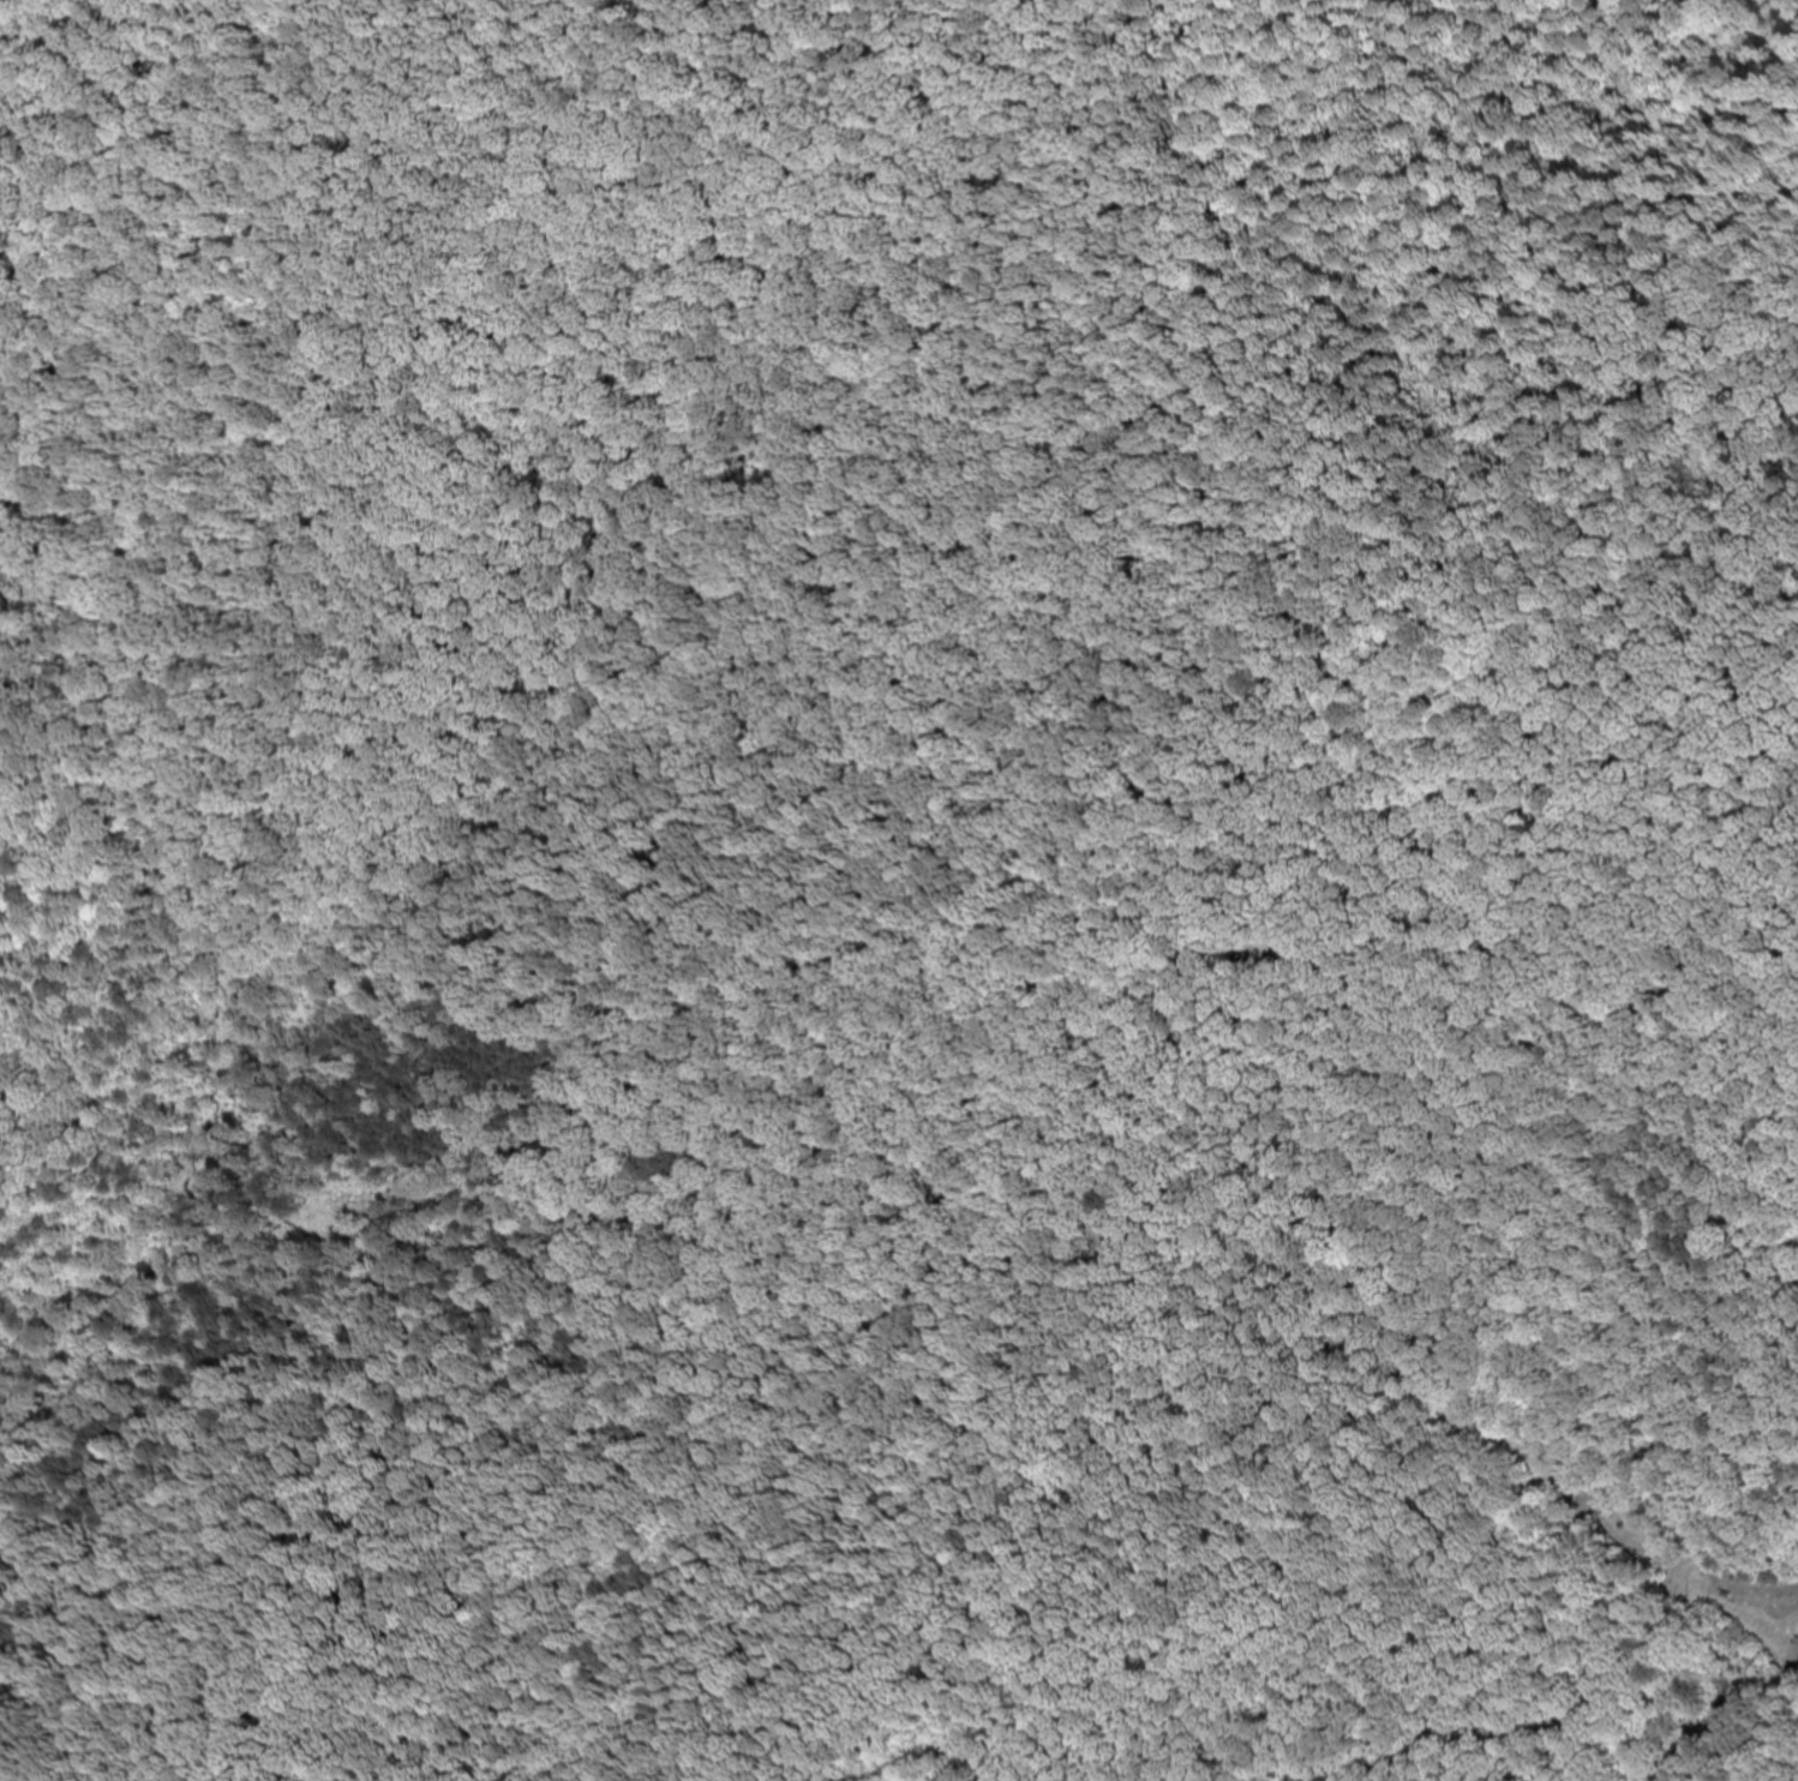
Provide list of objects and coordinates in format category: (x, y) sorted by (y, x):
road: (1588, 1591)

